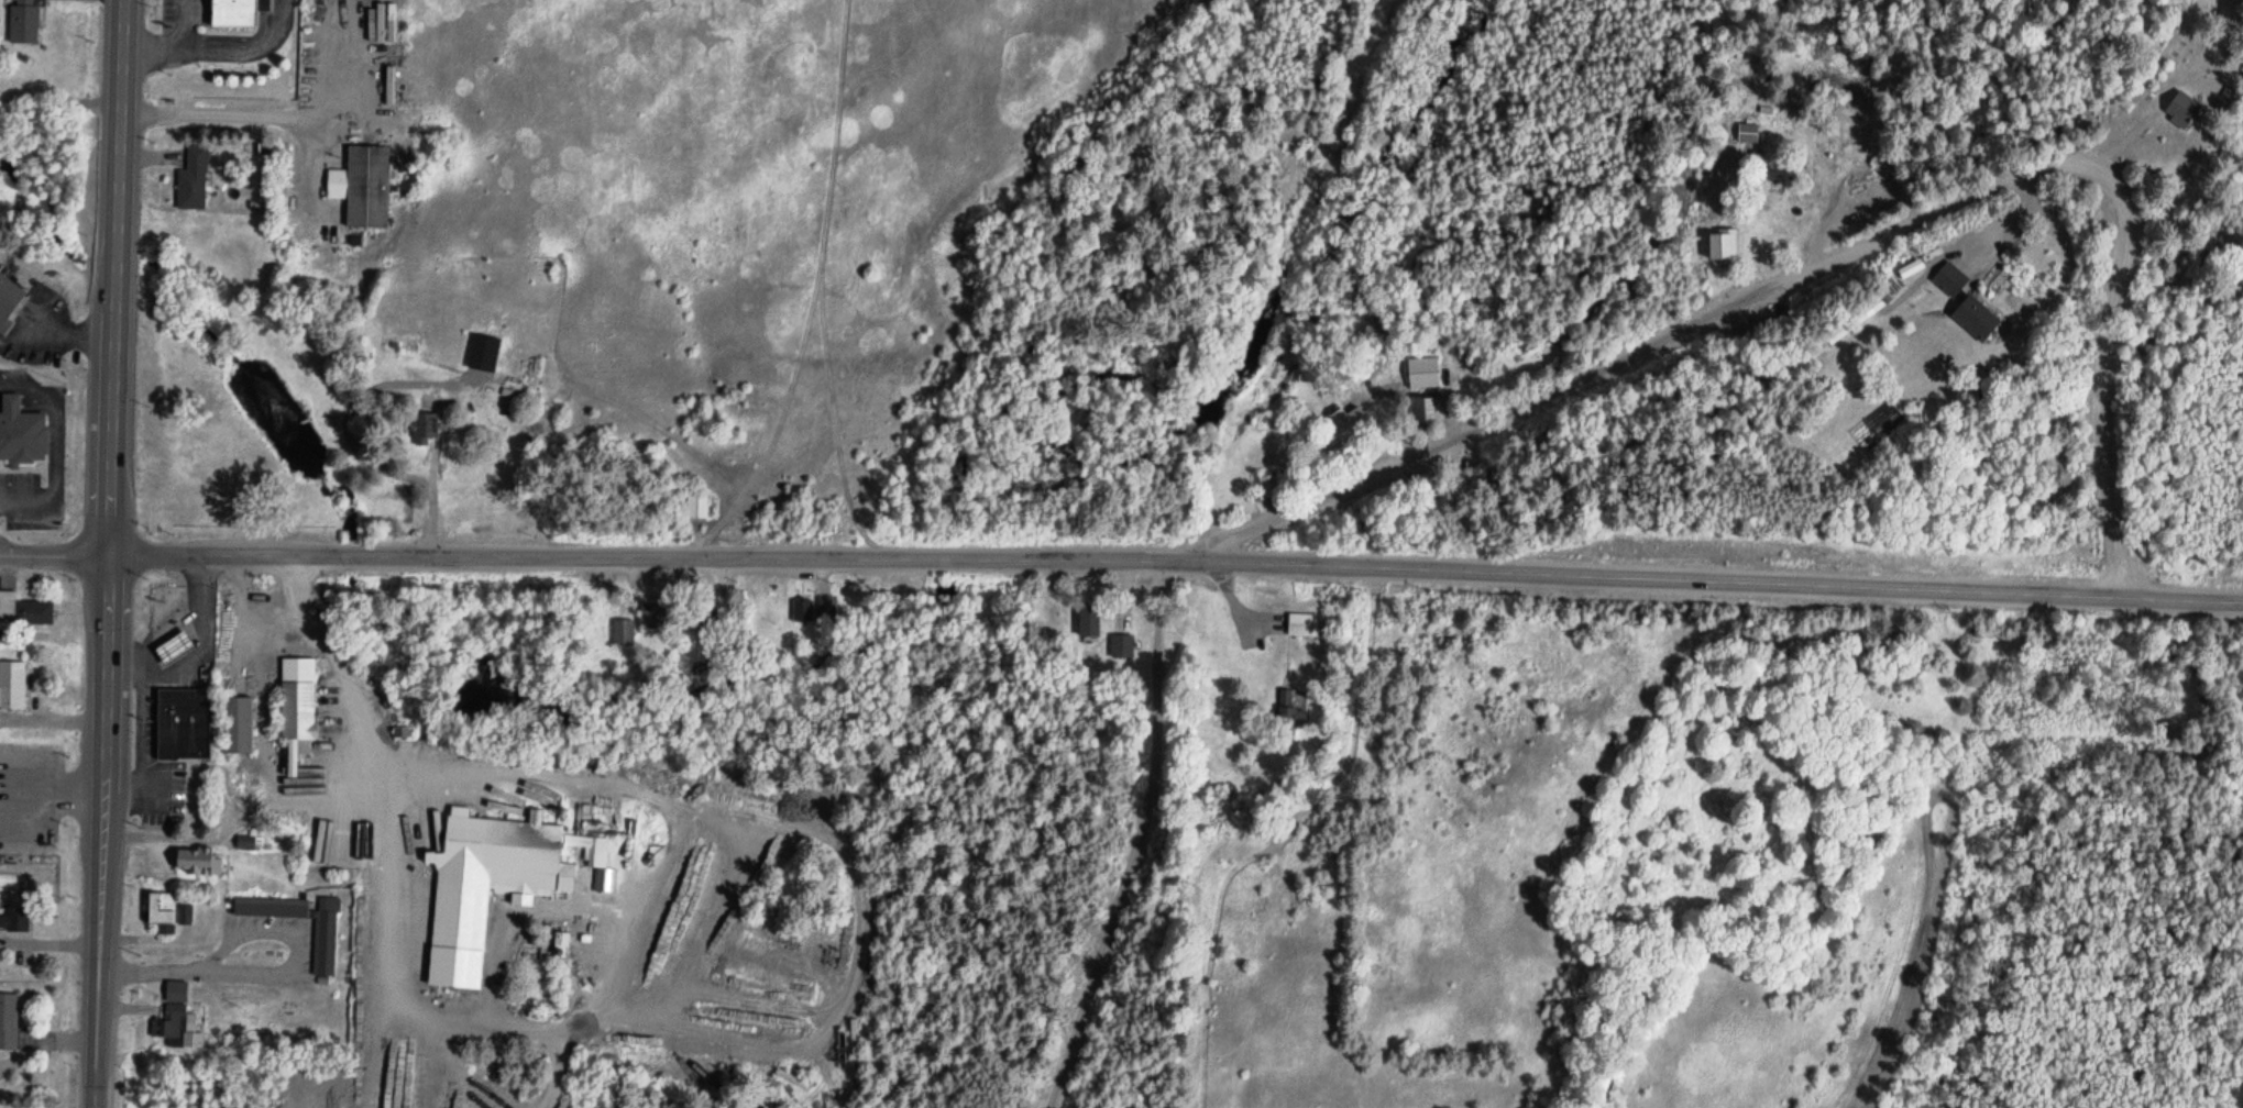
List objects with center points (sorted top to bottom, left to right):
building: (233, 10)
building: (22, 19)
road: (183, 23)
road: (210, 46)
building: (2180, 110)
road: (245, 115)
building: (1748, 134)
road: (310, 169)
building: (189, 173)
building: (360, 182)
road: (2057, 219)
building: (1724, 246)
road: (1851, 253)
building: (1949, 280)
building: (8, 295)
building: (1972, 318)
building: (1849, 324)
road: (54, 339)
building: (1422, 374)
building: (10, 397)
building: (1425, 411)
building: (422, 423)
building: (22, 432)
road: (52, 450)
building: (1268, 485)
building: (694, 505)
road: (107, 554)
road: (605, 559)
road: (1726, 581)
building: (22, 603)
building: (803, 612)
building: (652, 613)
building: (706, 616)
building: (1088, 623)
building: (1302, 624)
building: (618, 629)
building: (173, 645)
building: (1122, 646)
road: (325, 650)
building: (10, 676)
building: (298, 707)
building: (235, 721)
building: (182, 723)
road: (8, 751)
road: (15, 791)
road: (58, 791)
road: (684, 806)
road: (8, 835)
building: (245, 836)
road: (1139, 840)
building: (199, 853)
building: (7, 875)
building: (490, 879)
building: (162, 905)
building: (183, 908)
building: (14, 913)
road: (381, 926)
road: (254, 933)
road: (48, 941)
building: (320, 941)
road: (188, 972)
building: (8, 1015)
building: (168, 1020)
building: (855, 1038)
road: (44, 1043)
road: (781, 1059)

